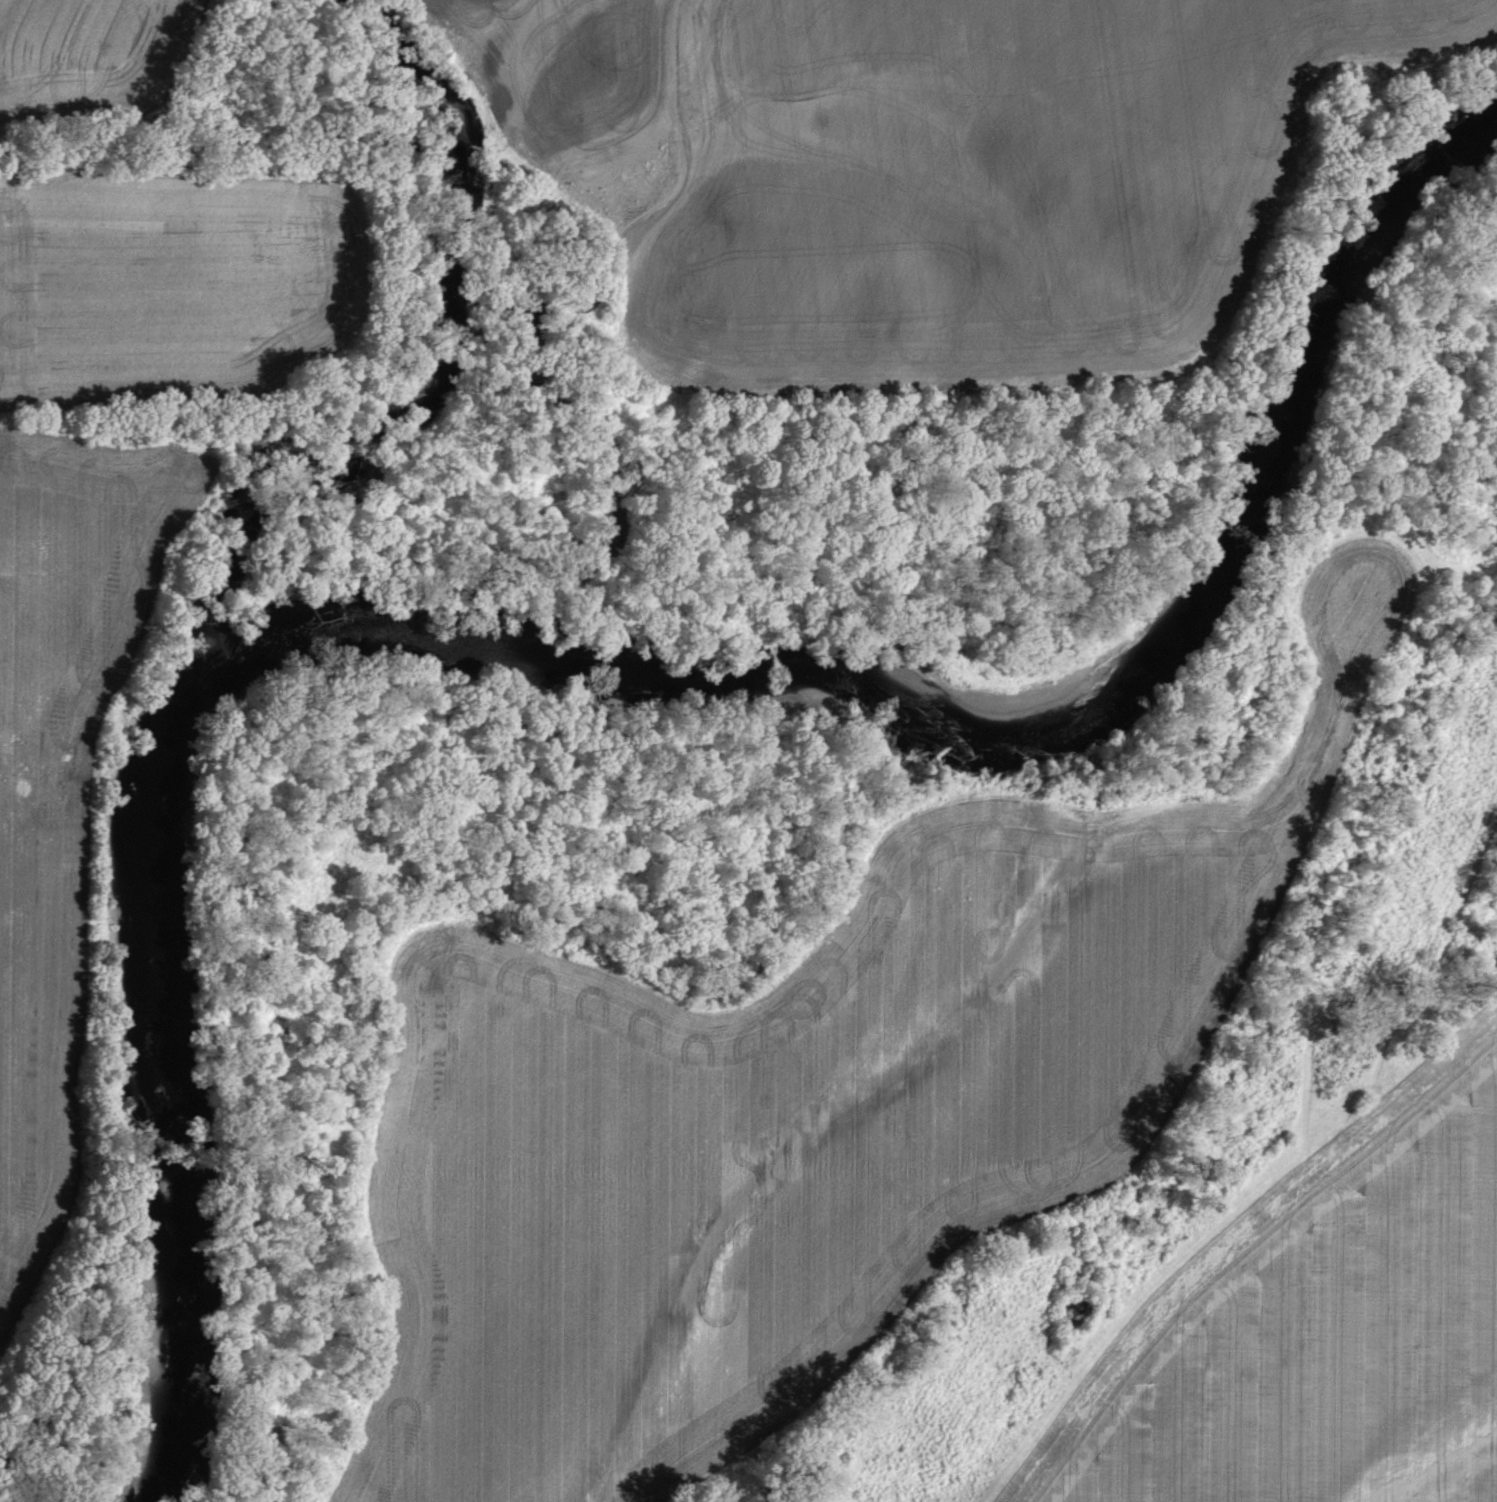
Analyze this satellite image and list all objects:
river: (594, 662)

